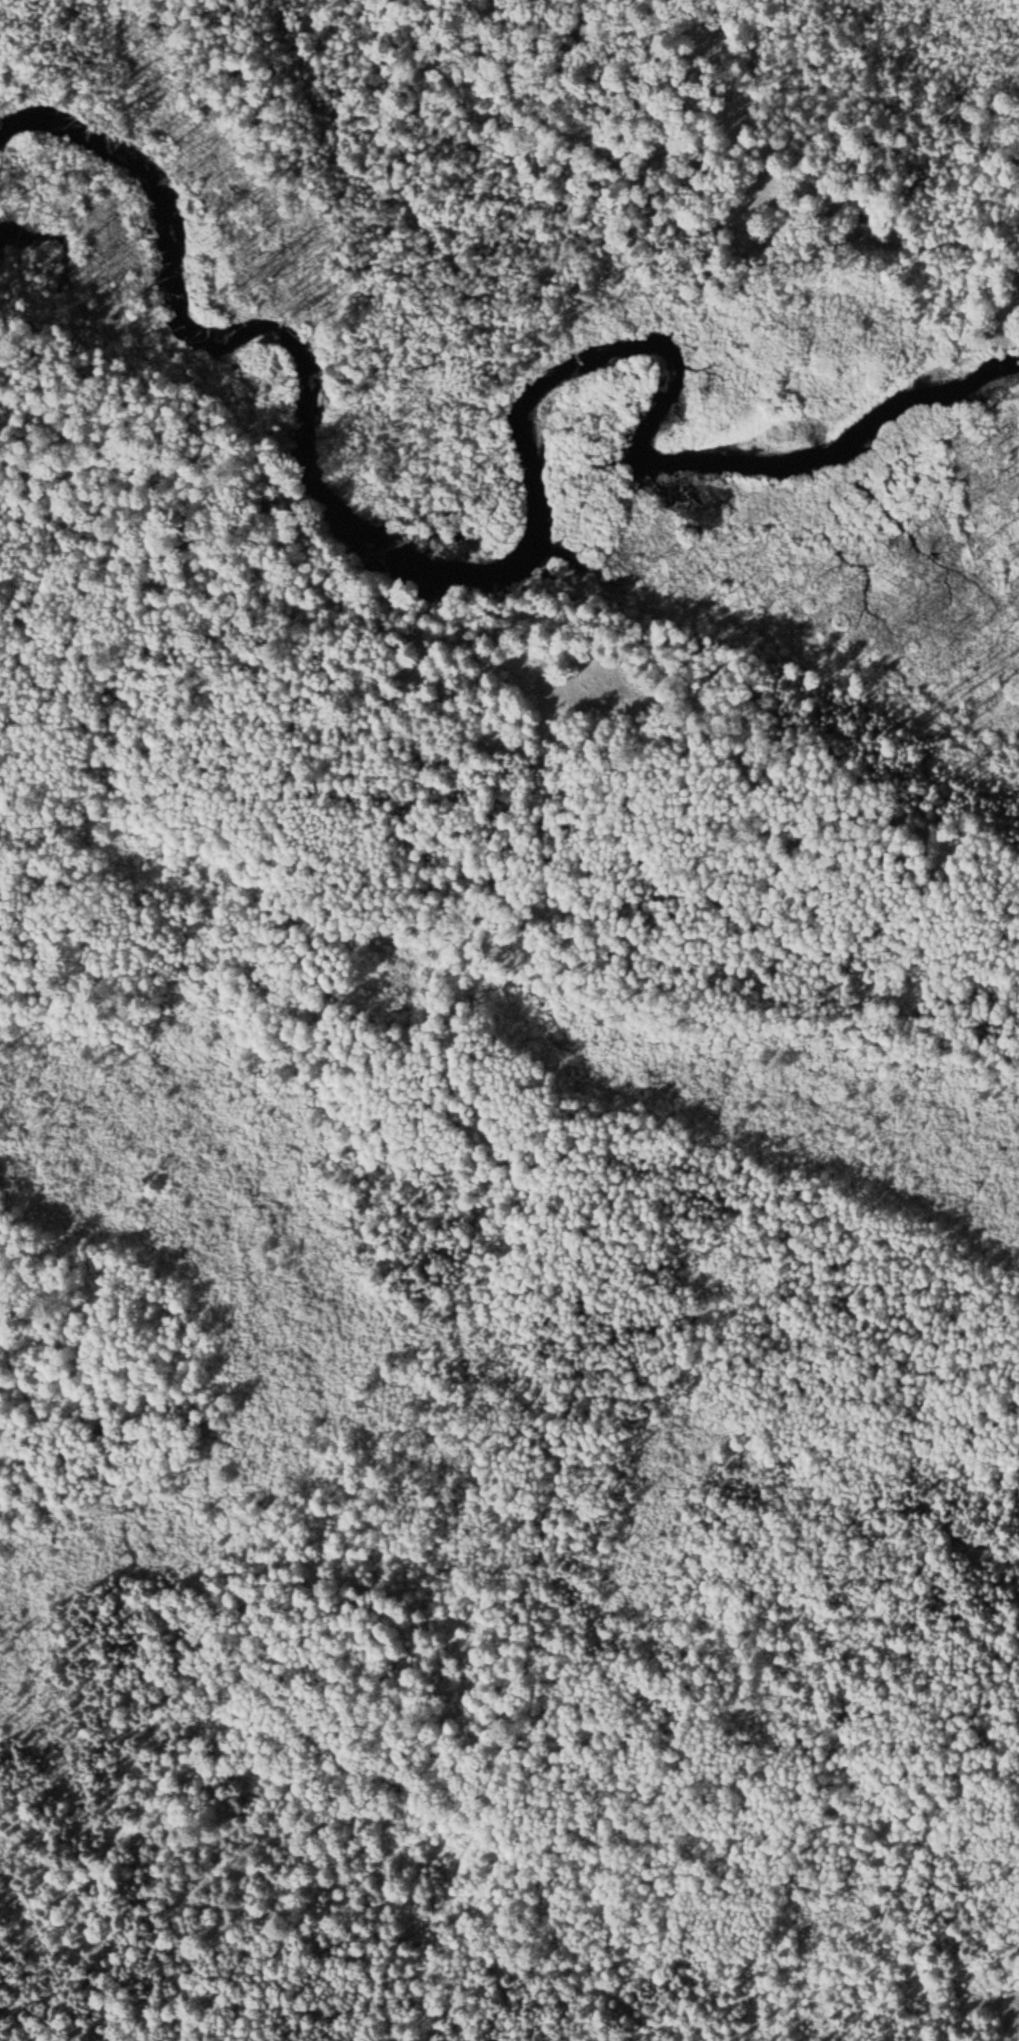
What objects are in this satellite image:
road: (709, 233)
river: (530, 544)
road: (267, 1656)

